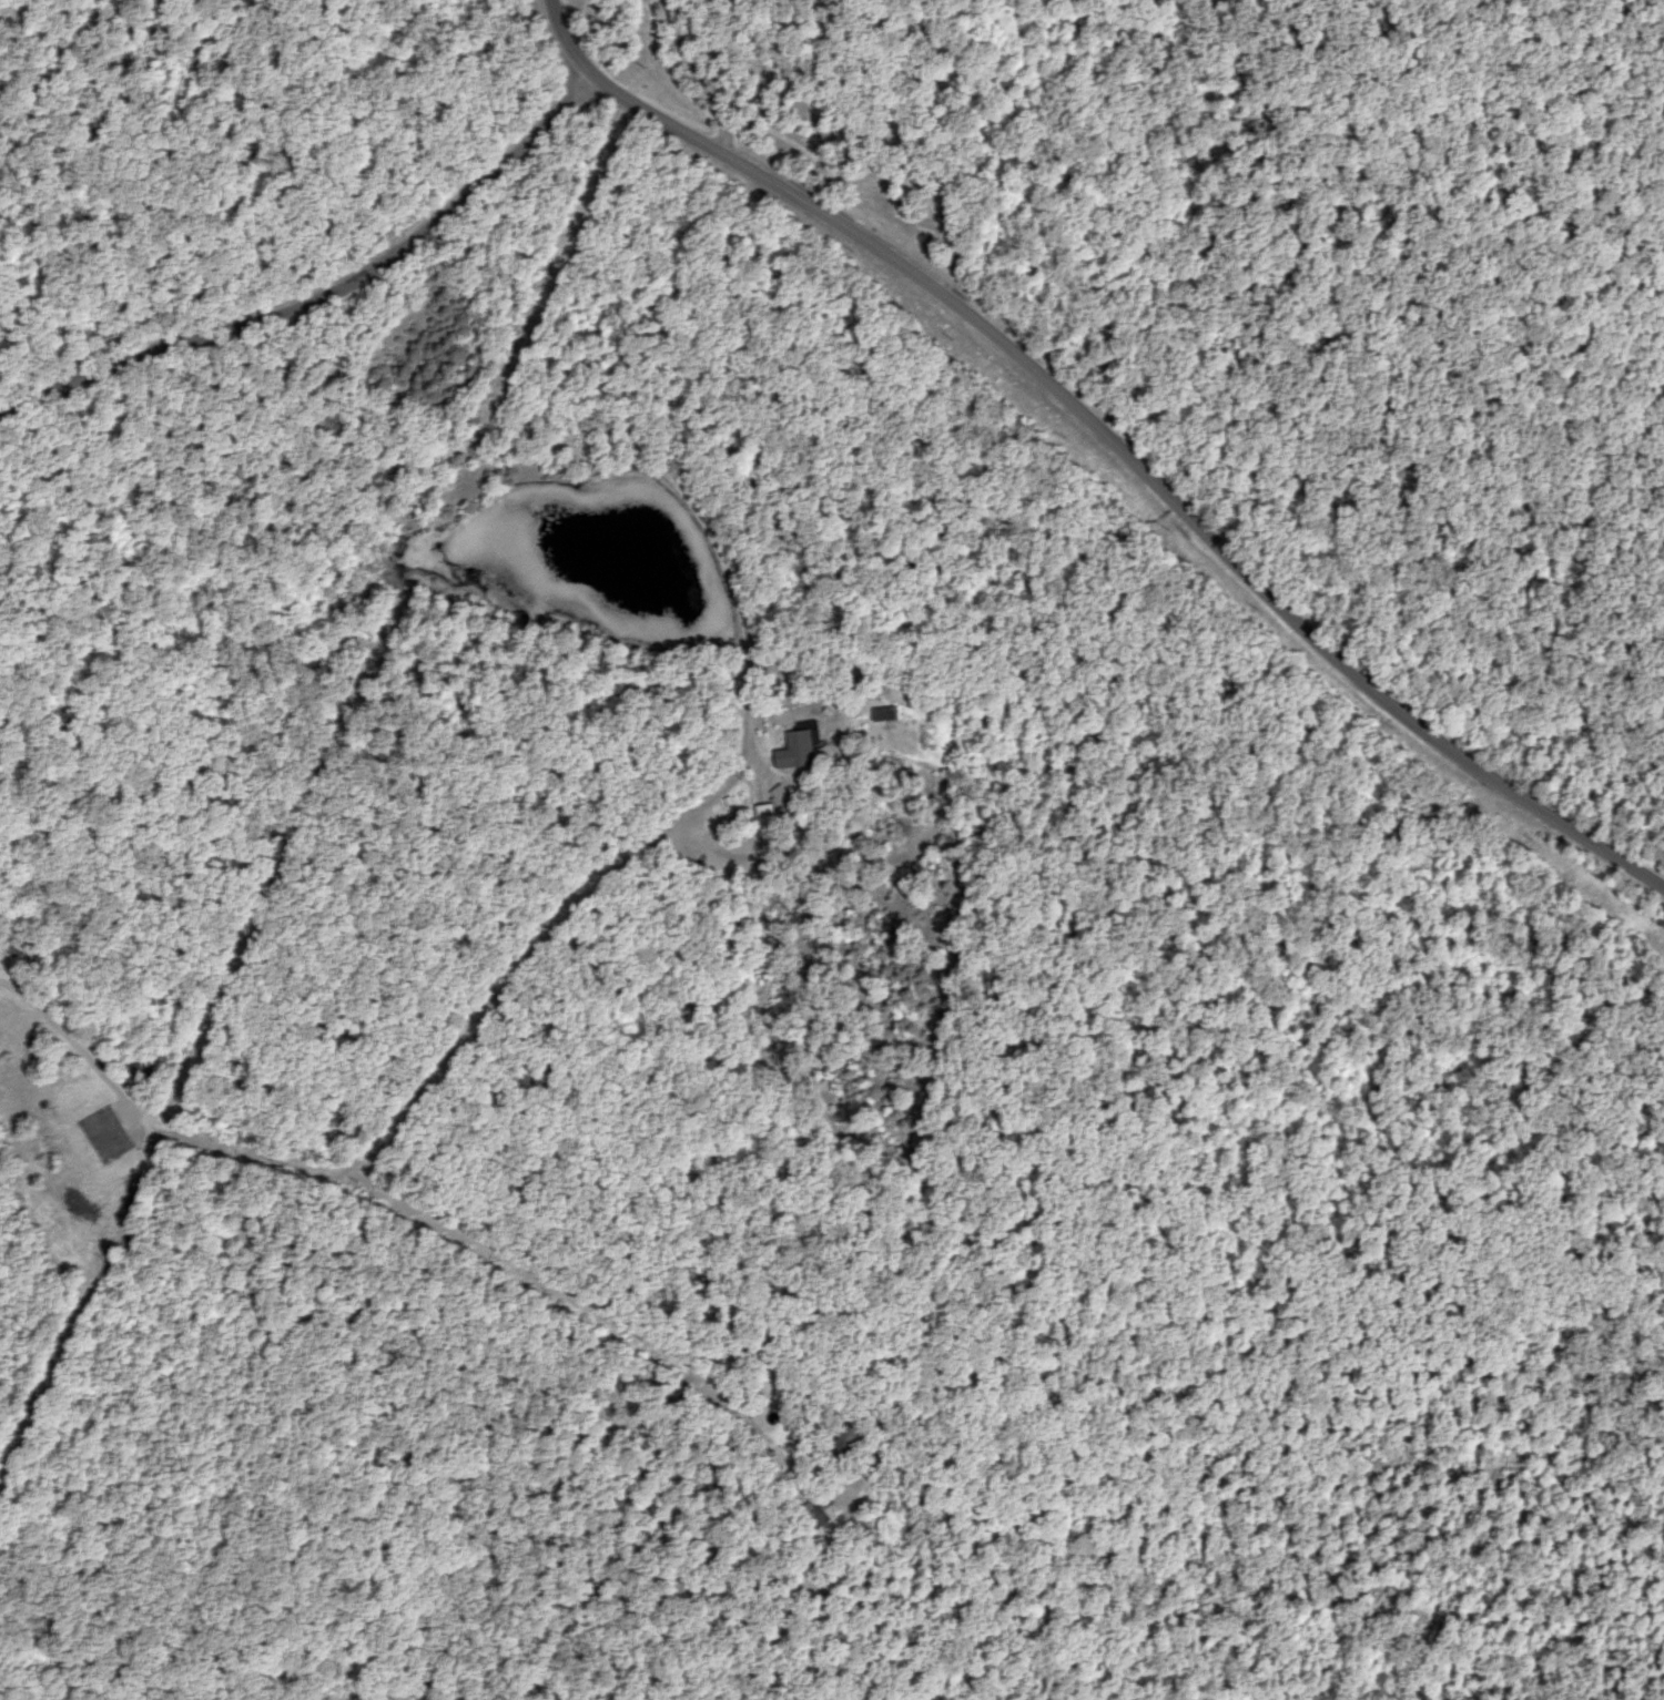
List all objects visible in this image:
road: (325, 294)
road: (541, 431)
road: (1108, 434)
building: (890, 716)
building: (801, 750)
building: (769, 815)
park: (1335, 854)
building: (819, 1514)
road: (692, 1645)

